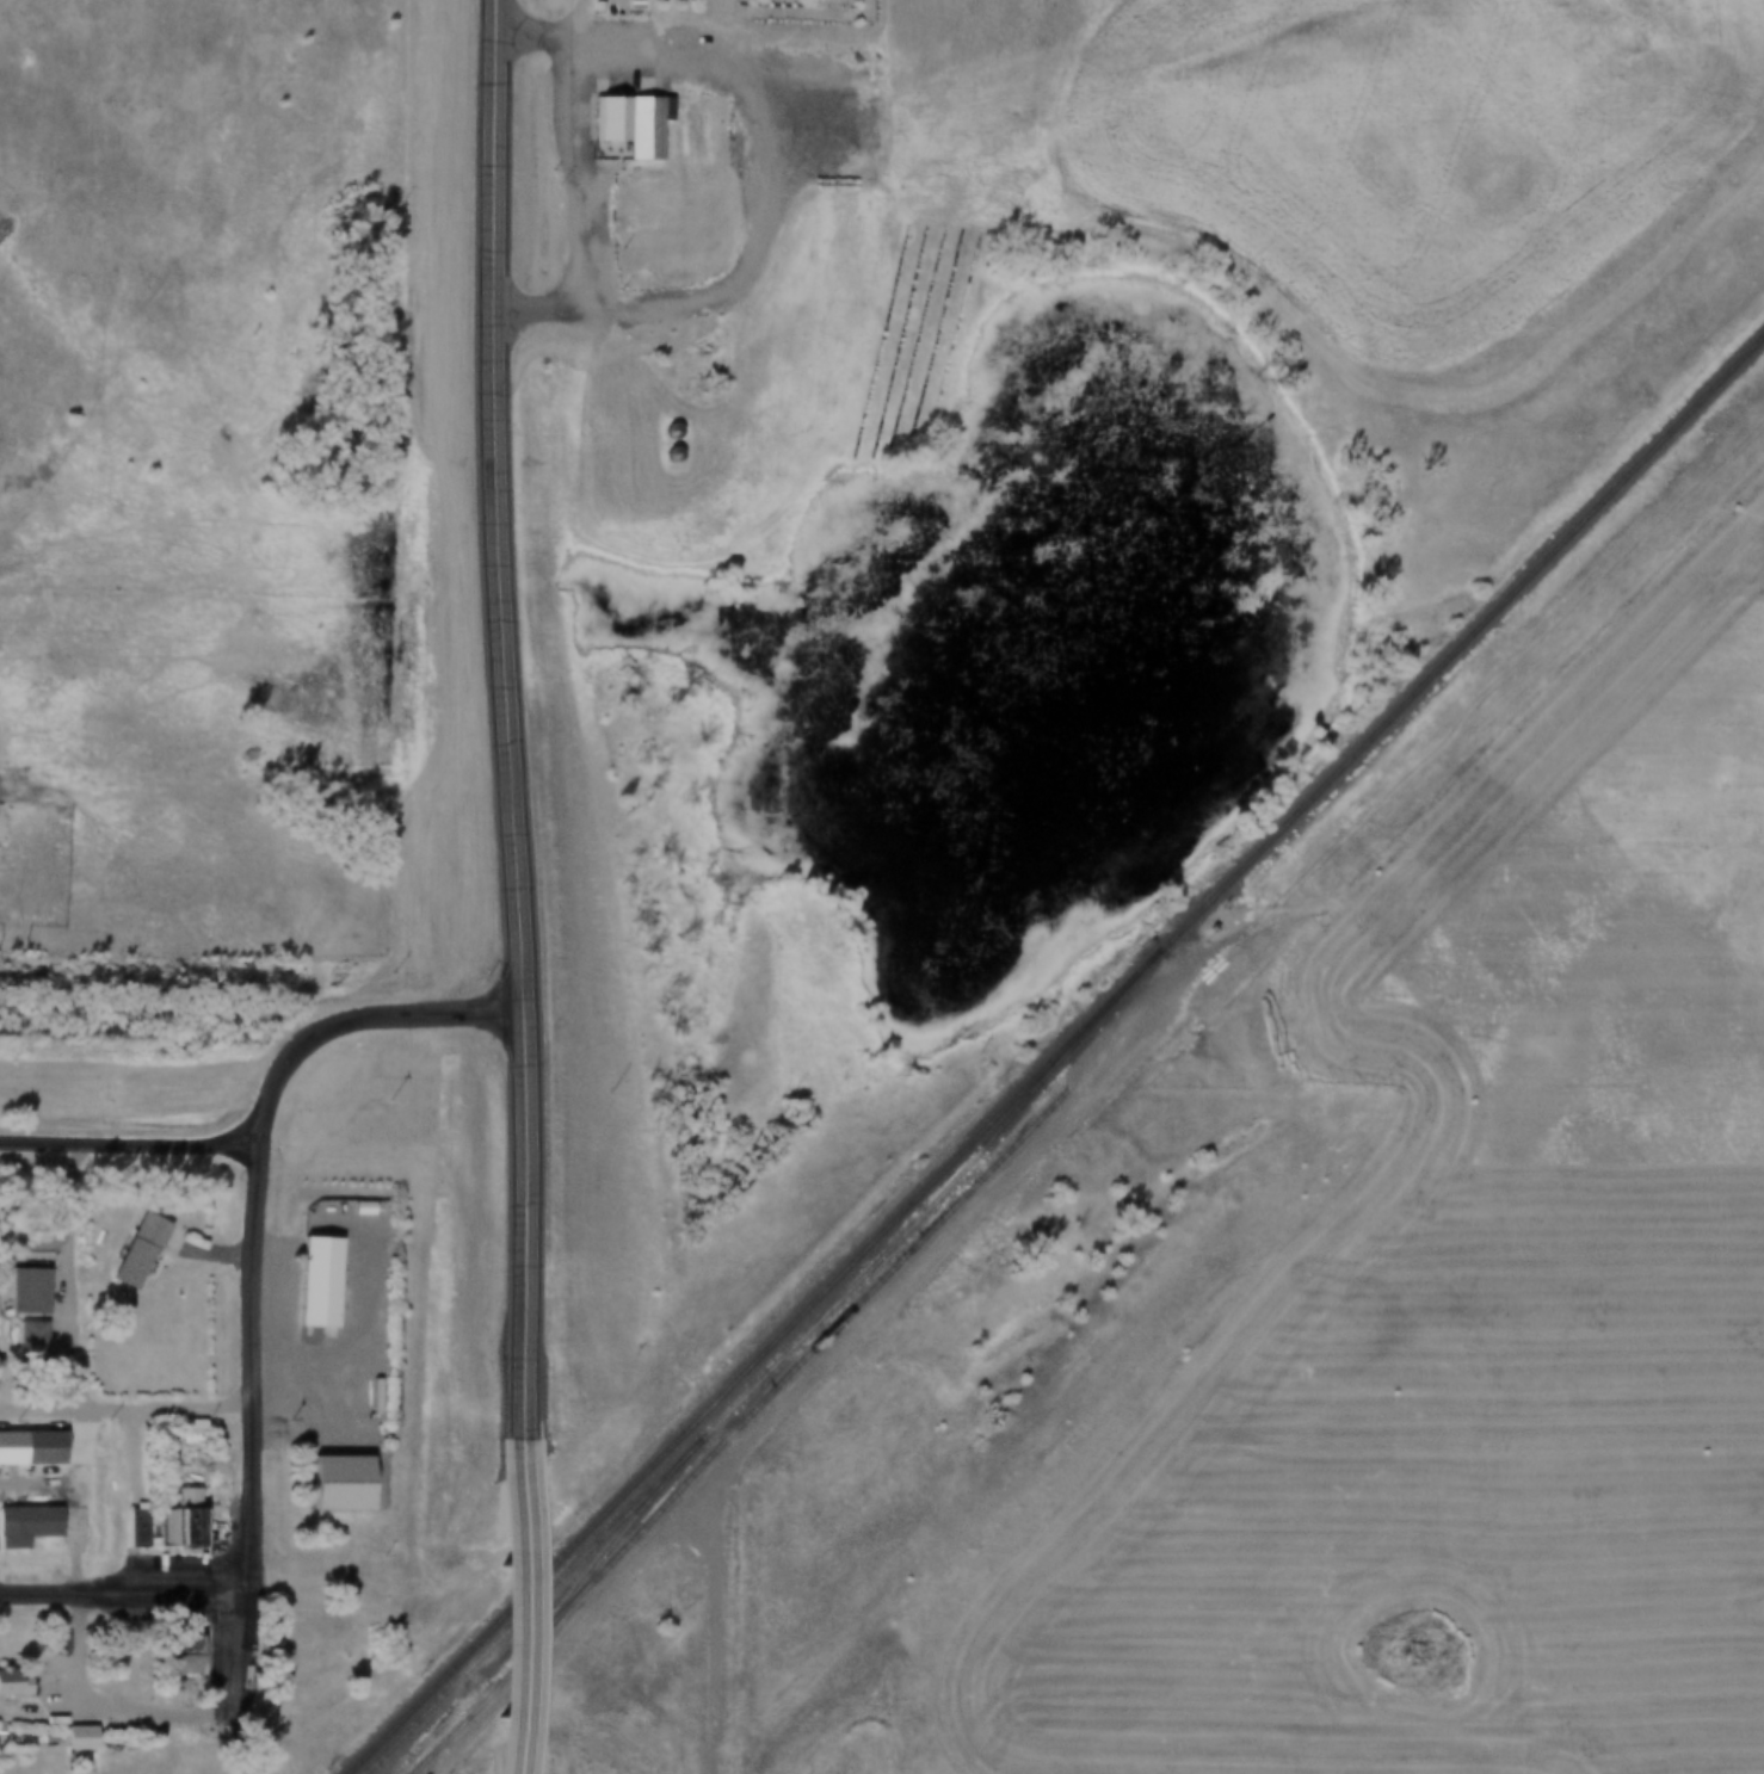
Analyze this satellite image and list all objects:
road: (498, 17)
building: (636, 124)
road: (495, 174)
road: (580, 174)
building: (672, 309)
road: (513, 876)
railway: (1053, 1052)
road: (267, 1108)
building: (147, 1248)
building: (325, 1279)
building: (36, 1290)
building: (36, 1340)
road: (255, 1362)
building: (1, 1366)
road: (79, 1366)
railway: (766, 1372)
road: (785, 1401)
railway: (733, 1432)
building: (49, 1446)
building: (191, 1519)
building: (19, 1526)
railway: (605, 1552)
road: (127, 1588)
road: (529, 1606)
road: (709, 1631)
building: (187, 1662)
building: (16, 1682)

